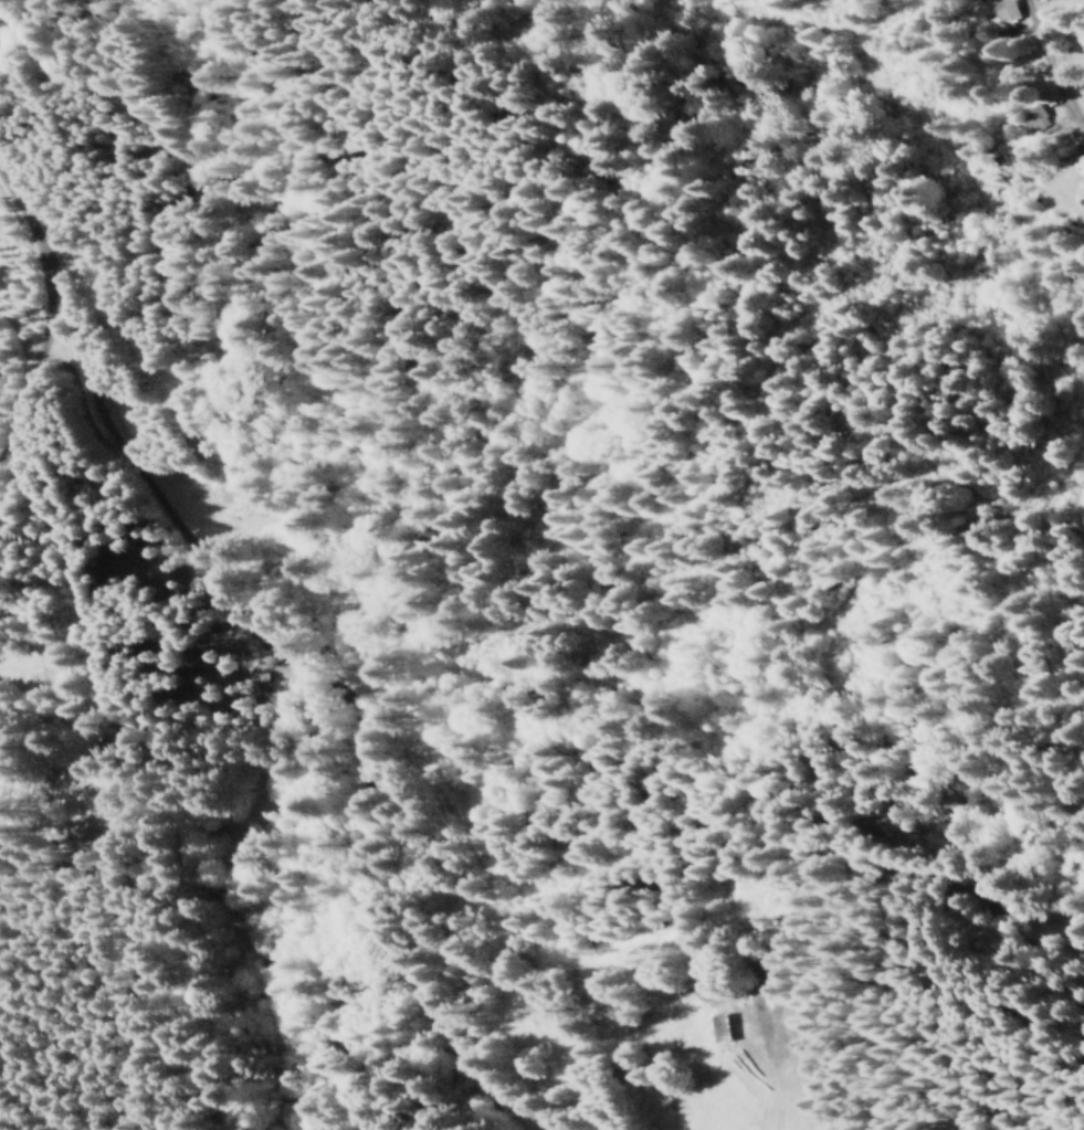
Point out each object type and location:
building: (1078, 165)
road: (228, 739)
building: (716, 1027)

